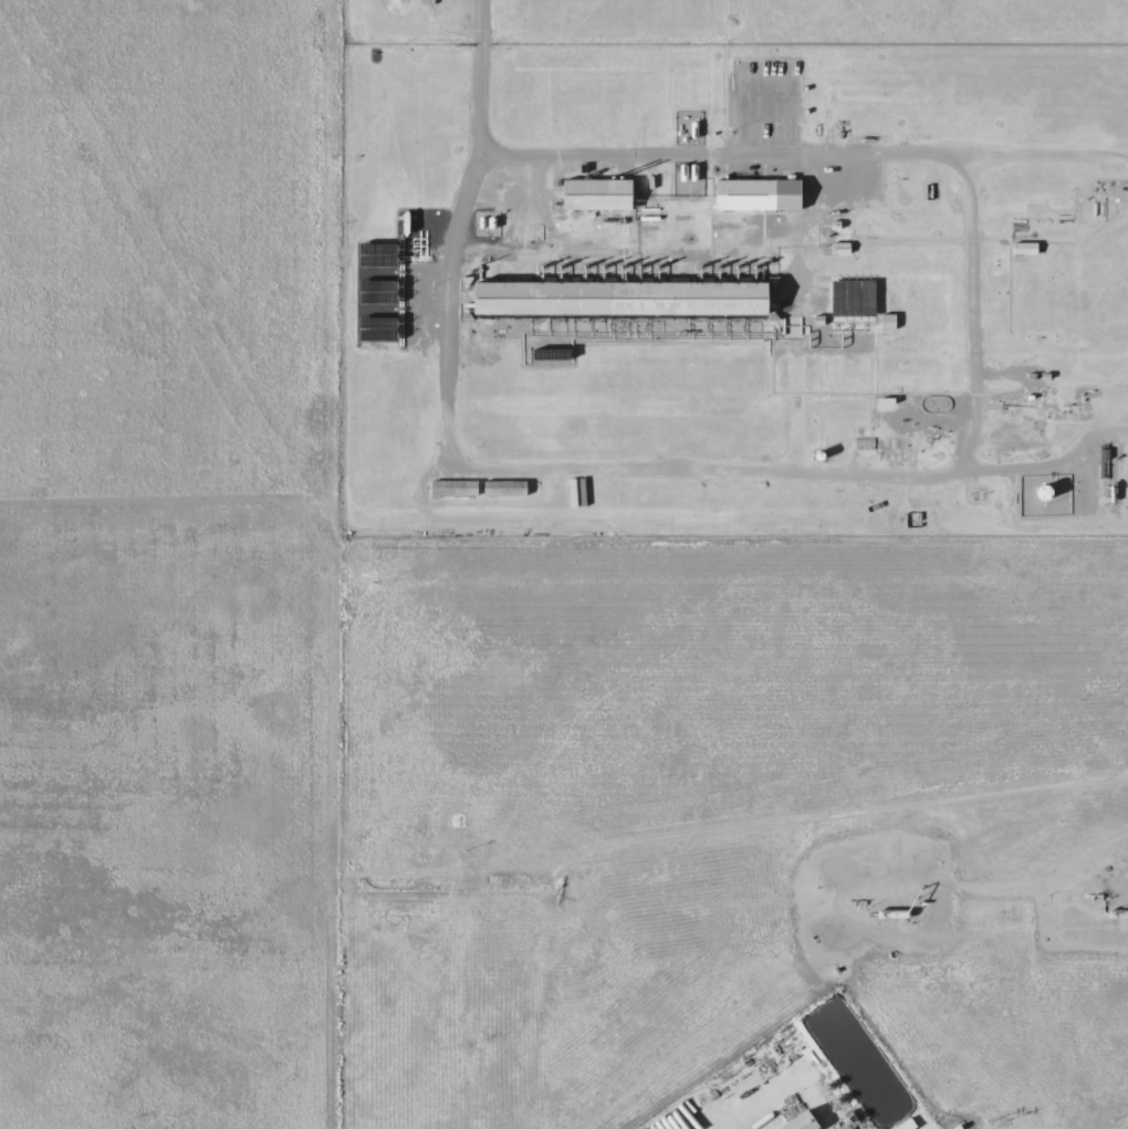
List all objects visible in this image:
road: (480, 83)
building: (596, 196)
building: (758, 196)
building: (619, 300)
building: (887, 323)
road: (978, 425)
building: (452, 489)
building: (504, 489)
building: (802, 1122)

